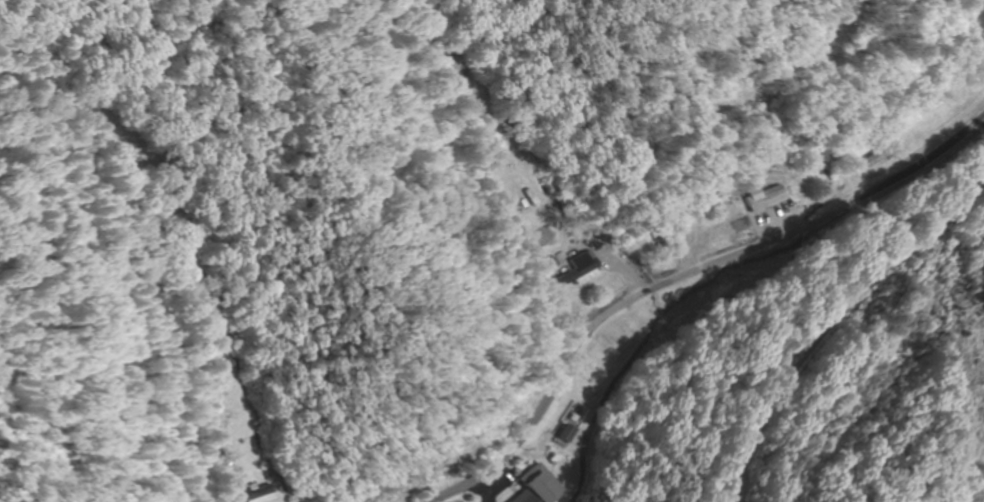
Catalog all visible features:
building: (764, 198)
building: (580, 268)
road: (680, 276)
building: (227, 361)
building: (262, 494)
building: (527, 497)

